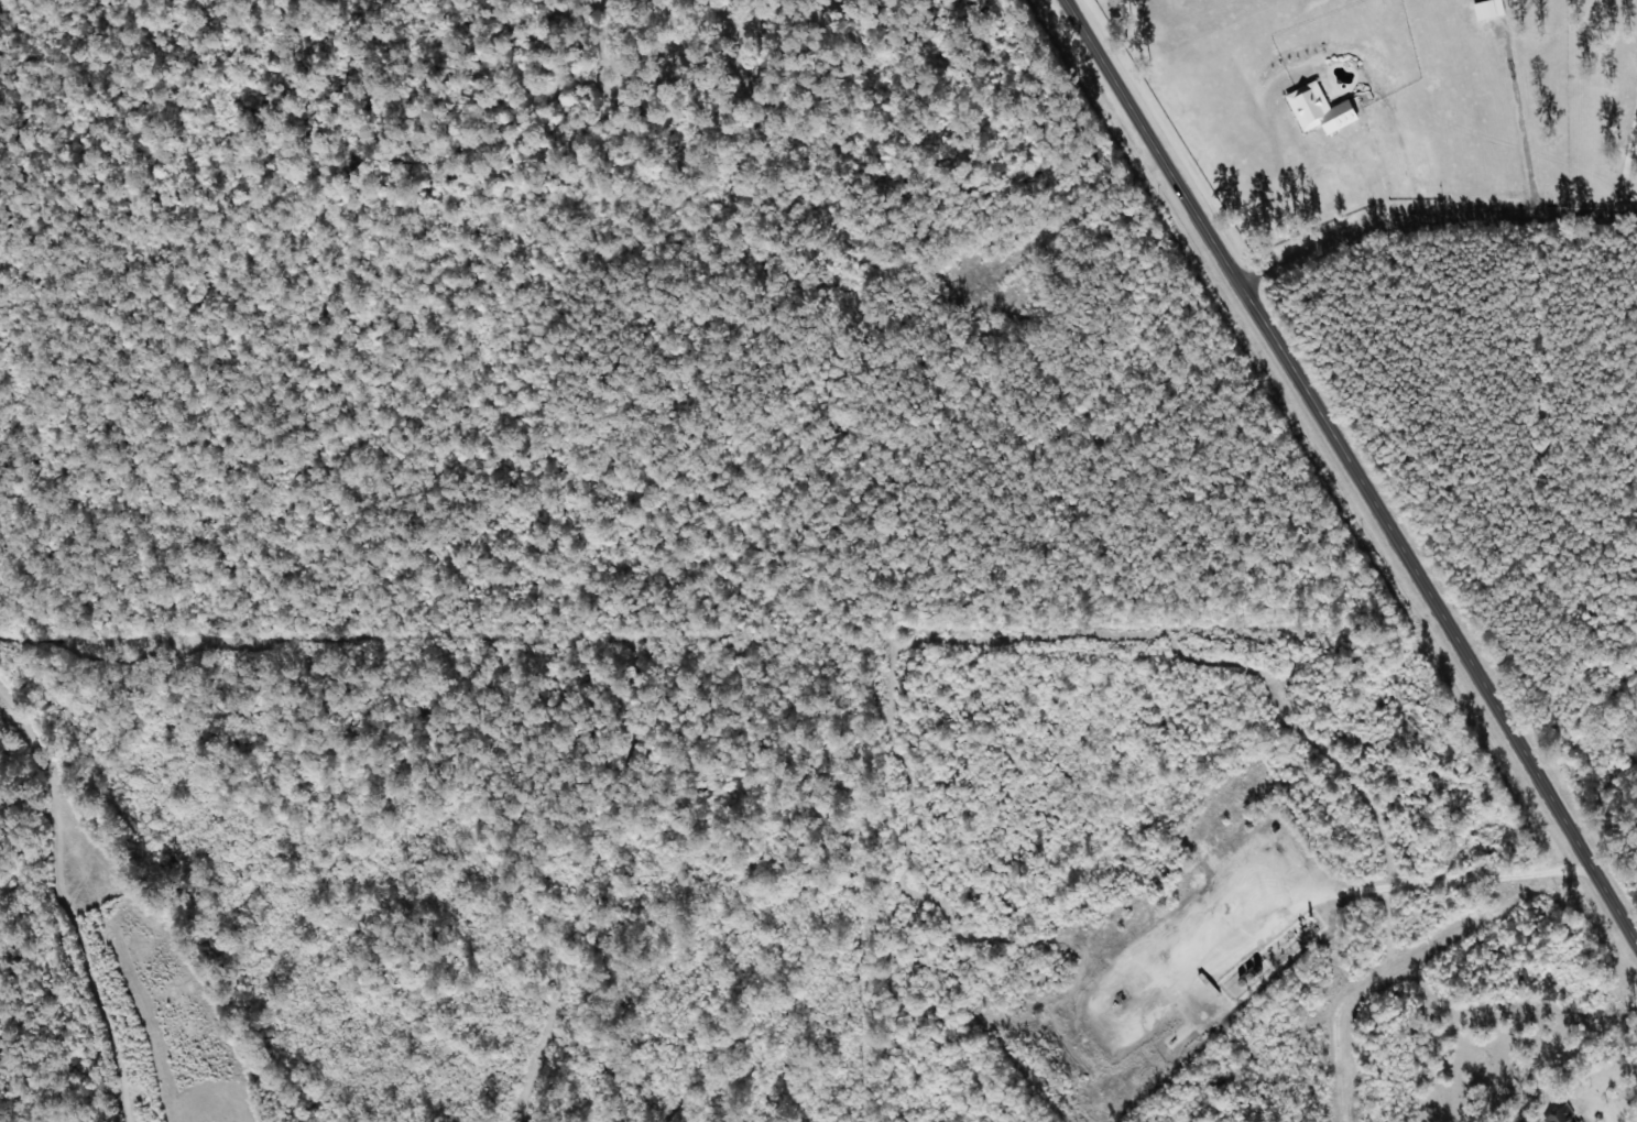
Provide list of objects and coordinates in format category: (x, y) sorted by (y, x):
building: (1318, 108)
road: (1432, 231)
road: (1355, 473)
road: (1625, 906)
building: (1560, 1114)

